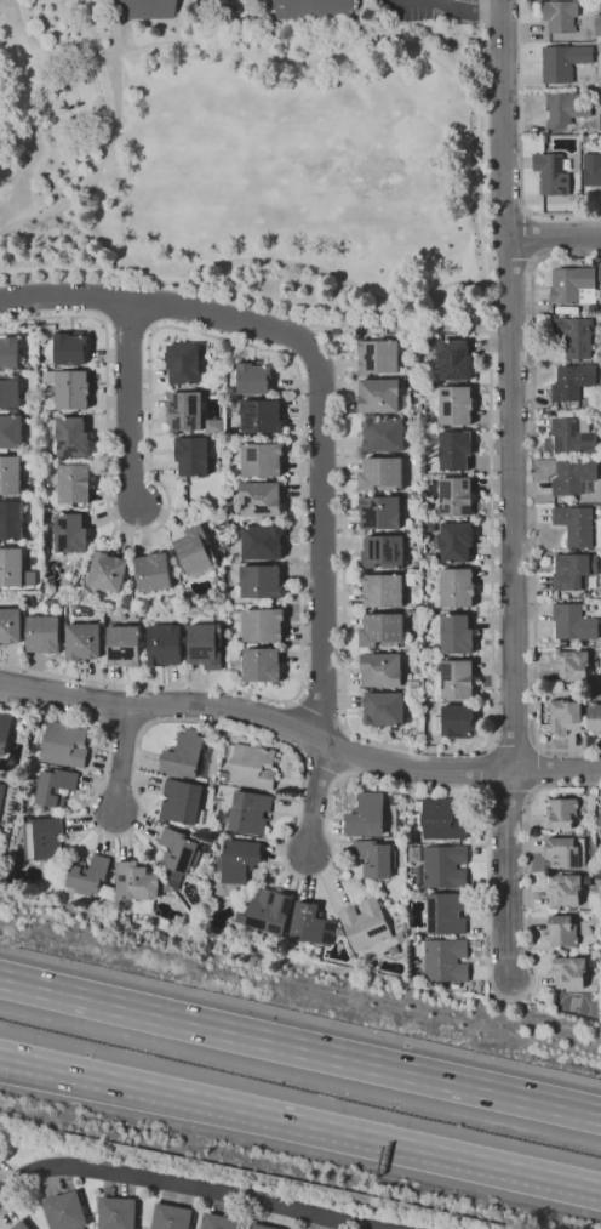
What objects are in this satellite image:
road: (267, 7)
road: (357, 7)
parking lot: (416, 7)
road: (470, 7)
building: (147, 8)
building: (313, 10)
building: (559, 16)
road: (181, 21)
building: (597, 27)
road: (82, 30)
road: (111, 30)
road: (51, 51)
road: (273, 57)
building: (562, 62)
road: (454, 63)
road: (462, 86)
road: (40, 104)
building: (566, 108)
building: (599, 121)
road: (519, 143)
park: (252, 160)
building: (591, 169)
building: (554, 172)
road: (96, 173)
building: (577, 203)
road: (75, 220)
road: (554, 235)
road: (269, 260)
road: (74, 269)
building: (600, 272)
building: (572, 284)
road: (379, 306)
road: (324, 307)
building: (574, 336)
building: (68, 348)
road: (261, 348)
building: (8, 351)
building: (378, 357)
building: (453, 359)
building: (183, 363)
building: (410, 368)
road: (490, 371)
building: (210, 377)
building: (253, 379)
building: (572, 381)
building: (414, 382)
road: (506, 385)
road: (320, 386)
building: (69, 387)
building: (10, 391)
building: (376, 394)
building: (453, 403)
road: (131, 404)
building: (233, 406)
building: (185, 410)
building: (261, 416)
building: (214, 426)
building: (11, 432)
building: (573, 432)
building: (384, 434)
building: (69, 437)
building: (456, 449)
building: (600, 453)
building: (193, 455)
building: (262, 459)
building: (382, 473)
building: (10, 476)
building: (574, 477)
building: (428, 479)
building: (69, 483)
building: (456, 496)
building: (261, 499)
road: (342, 499)
road: (533, 501)
building: (237, 507)
building: (50, 511)
building: (380, 512)
building: (431, 513)
building: (11, 520)
building: (576, 524)
building: (71, 533)
building: (261, 541)
building: (454, 541)
building: (384, 551)
building: (196, 553)
building: (431, 559)
building: (80, 564)
building: (11, 567)
building: (107, 571)
building: (154, 571)
building: (574, 571)
building: (430, 573)
building: (410, 579)
building: (261, 581)
building: (457, 588)
building: (67, 590)
building: (383, 590)
building: (82, 591)
building: (127, 601)
building: (221, 601)
building: (419, 607)
building: (573, 622)
building: (263, 625)
building: (10, 626)
building: (383, 630)
building: (45, 633)
building: (457, 633)
building: (206, 641)
building: (82, 642)
building: (165, 644)
building: (124, 645)
building: (234, 654)
building: (262, 665)
building: (573, 665)
building: (418, 666)
building: (382, 668)
building: (456, 679)
building: (416, 684)
building: (384, 709)
building: (566, 716)
building: (595, 716)
road: (254, 717)
building: (456, 721)
building: (5, 730)
building: (17, 735)
building: (65, 745)
road: (414, 750)
building: (187, 756)
road: (119, 759)
building: (250, 766)
road: (554, 769)
building: (53, 787)
building: (1, 793)
building: (182, 802)
road: (314, 803)
building: (247, 813)
building: (562, 813)
building: (367, 815)
building: (442, 818)
building: (600, 820)
road: (330, 841)
building: (42, 843)
building: (181, 850)
building: (566, 852)
building: (376, 858)
building: (237, 860)
building: (441, 866)
building: (86, 877)
road: (506, 877)
building: (134, 883)
building: (165, 884)
building: (565, 888)
building: (265, 911)
building: (446, 914)
building: (311, 924)
building: (365, 924)
building: (561, 931)
building: (443, 960)
building: (569, 971)
building: (454, 986)
road: (300, 1049)
road: (300, 1121)
road: (185, 1187)
building: (67, 1211)
building: (119, 1212)
building: (172, 1217)
building: (222, 1222)
building: (21, 1224)
building: (263, 1225)

